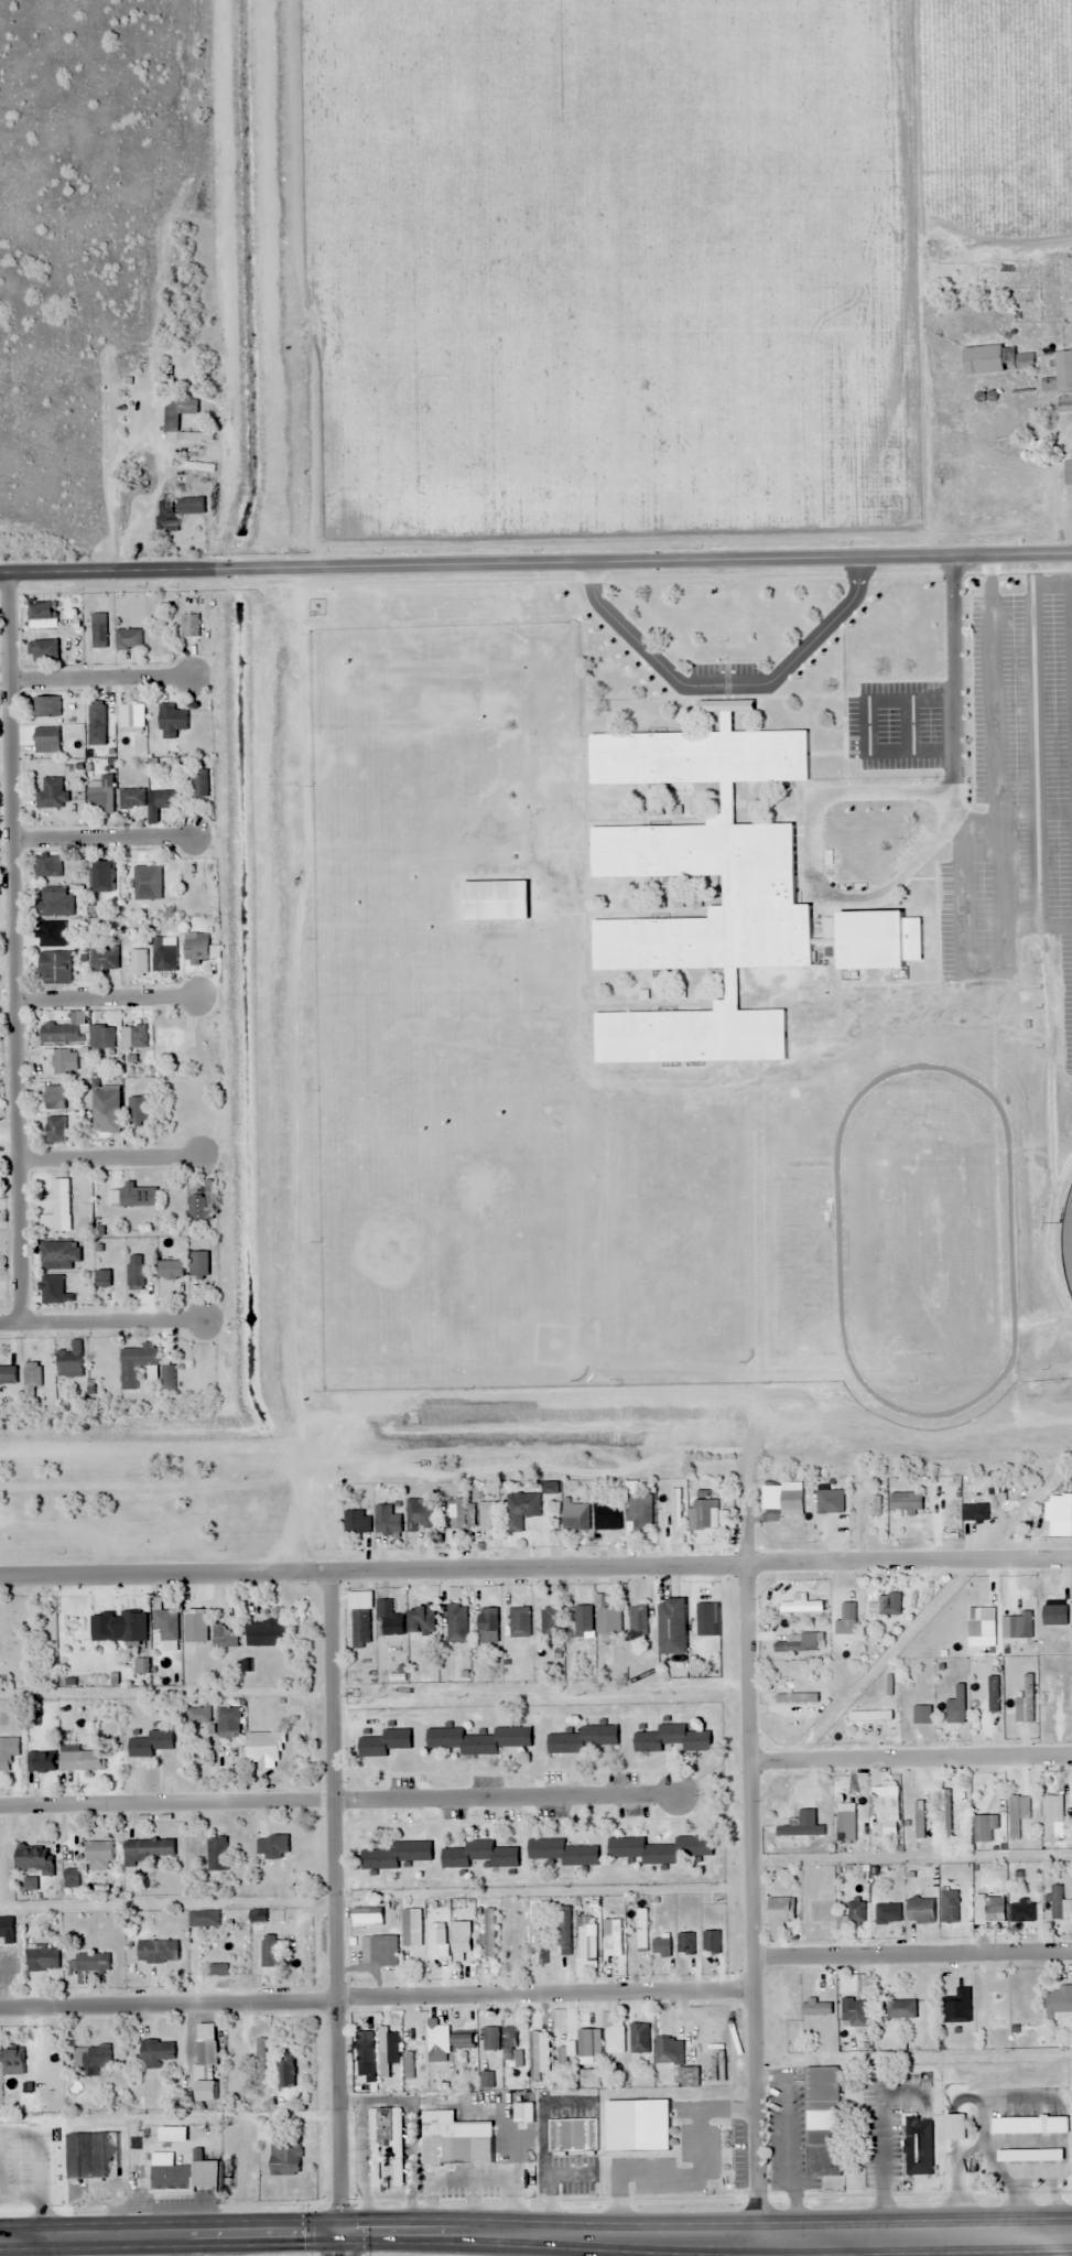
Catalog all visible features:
building: (183, 196)
building: (996, 359)
building: (1061, 381)
building: (171, 423)
building: (196, 466)
building: (1068, 474)
building: (890, 481)
building: (176, 510)
road: (535, 566)
building: (40, 611)
building: (190, 625)
building: (99, 635)
building: (129, 638)
building: (43, 650)
road: (99, 677)
road: (1032, 677)
road: (725, 683)
road: (993, 687)
building: (47, 706)
building: (131, 715)
building: (97, 723)
road: (867, 724)
road: (909, 724)
building: (173, 732)
building: (46, 740)
building: (201, 782)
building: (51, 794)
building: (101, 794)
building: (132, 799)
building: (165, 800)
road: (1009, 812)
road: (102, 836)
building: (46, 866)
road: (906, 867)
road: (1037, 868)
building: (102, 876)
building: (148, 883)
road: (1003, 889)
building: (762, 892)
building: (495, 900)
building: (52, 903)
road: (964, 908)
road: (1037, 925)
building: (874, 939)
road: (13, 947)
building: (196, 951)
building: (164, 954)
building: (105, 959)
building: (139, 961)
building: (55, 968)
road: (106, 996)
building: (63, 1030)
building: (134, 1036)
building: (101, 1037)
building: (64, 1060)
building: (54, 1098)
building: (106, 1109)
building: (138, 1111)
building: (55, 1129)
road: (109, 1157)
building: (138, 1195)
building: (58, 1208)
building: (198, 1209)
park: (1066, 1239)
building: (59, 1255)
building: (198, 1264)
building: (171, 1270)
building: (136, 1272)
building: (102, 1278)
building: (54, 1291)
road: (100, 1320)
building: (71, 1361)
building: (138, 1364)
building: (32, 1374)
building: (8, 1375)
building: (167, 1377)
railway: (535, 1465)
building: (907, 1503)
building: (521, 1510)
building: (488, 1511)
building: (639, 1512)
building: (705, 1514)
building: (420, 1516)
building: (576, 1516)
building: (607, 1518)
building: (841, 1519)
building: (358, 1523)
building: (389, 1524)
road: (535, 1566)
building: (891, 1606)
building: (704, 1612)
building: (1054, 1616)
building: (607, 1617)
building: (582, 1619)
building: (388, 1620)
building: (638, 1620)
building: (422, 1621)
building: (520, 1622)
building: (551, 1622)
building: (978, 1622)
building: (457, 1623)
building: (166, 1624)
building: (488, 1626)
building: (133, 1627)
building: (196, 1627)
building: (672, 1627)
building: (360, 1629)
building: (264, 1633)
building: (225, 1637)
building: (994, 1694)
building: (1025, 1703)
building: (960, 1704)
building: (199, 1714)
building: (922, 1715)
building: (228, 1720)
building: (672, 1739)
building: (477, 1740)
building: (583, 1740)
building: (151, 1744)
building: (385, 1744)
building: (264, 1748)
building: (8, 1756)
road: (910, 1757)
building: (82, 1759)
building: (41, 1762)
road: (343, 1802)
building: (945, 1814)
building: (1018, 1814)
building: (876, 1816)
building: (842, 1818)
building: (272, 1846)
building: (660, 1848)
building: (148, 1849)
building: (563, 1852)
building: (217, 1854)
building: (397, 1855)
building: (479, 1855)
building: (99, 1856)
building: (35, 1858)
road: (751, 1870)
road: (334, 1899)
building: (920, 1910)
building: (780, 1911)
building: (857, 1912)
building: (1021, 1912)
building: (888, 1913)
building: (258, 1915)
building: (512, 1915)
building: (361, 1918)
building: (204, 1919)
building: (7, 1928)
building: (416, 1928)
building: (641, 1929)
building: (565, 1930)
building: (489, 1932)
building: (618, 1936)
building: (586, 1941)
building: (711, 1941)
building: (462, 1942)
building: (436, 1943)
building: (686, 1943)
building: (542, 1944)
building: (662, 1946)
building: (379, 1950)
building: (156, 1951)
building: (270, 1951)
road: (913, 1955)
building: (43, 1957)
building: (88, 1964)
building: (217, 1969)
road: (378, 1997)
building: (1060, 2003)
building: (959, 2006)
building: (816, 2008)
building: (901, 2009)
building: (996, 2009)
building: (854, 2011)
building: (431, 2032)
building: (614, 2034)
building: (639, 2038)
building: (491, 2039)
building: (464, 2040)
building: (586, 2042)
building: (366, 2047)
building: (207, 2048)
building: (155, 2053)
building: (539, 2054)
building: (93, 2055)
building: (661, 2057)
building: (564, 2058)
building: (515, 2059)
building: (260, 2061)
building: (12, 2062)
building: (285, 2072)
building: (589, 2077)
building: (206, 2090)
building: (822, 2120)
building: (637, 2125)
building: (1028, 2125)
road: (19, 2131)
building: (573, 2135)
building: (444, 2140)
building: (385, 2142)
building: (917, 2145)
building: (9, 2156)
building: (94, 2156)
building: (1027, 2156)
building: (285, 2157)
building: (170, 2179)
building: (1, 2190)
traffic signals: (340, 2230)
road: (170, 2233)
road: (705, 2235)

